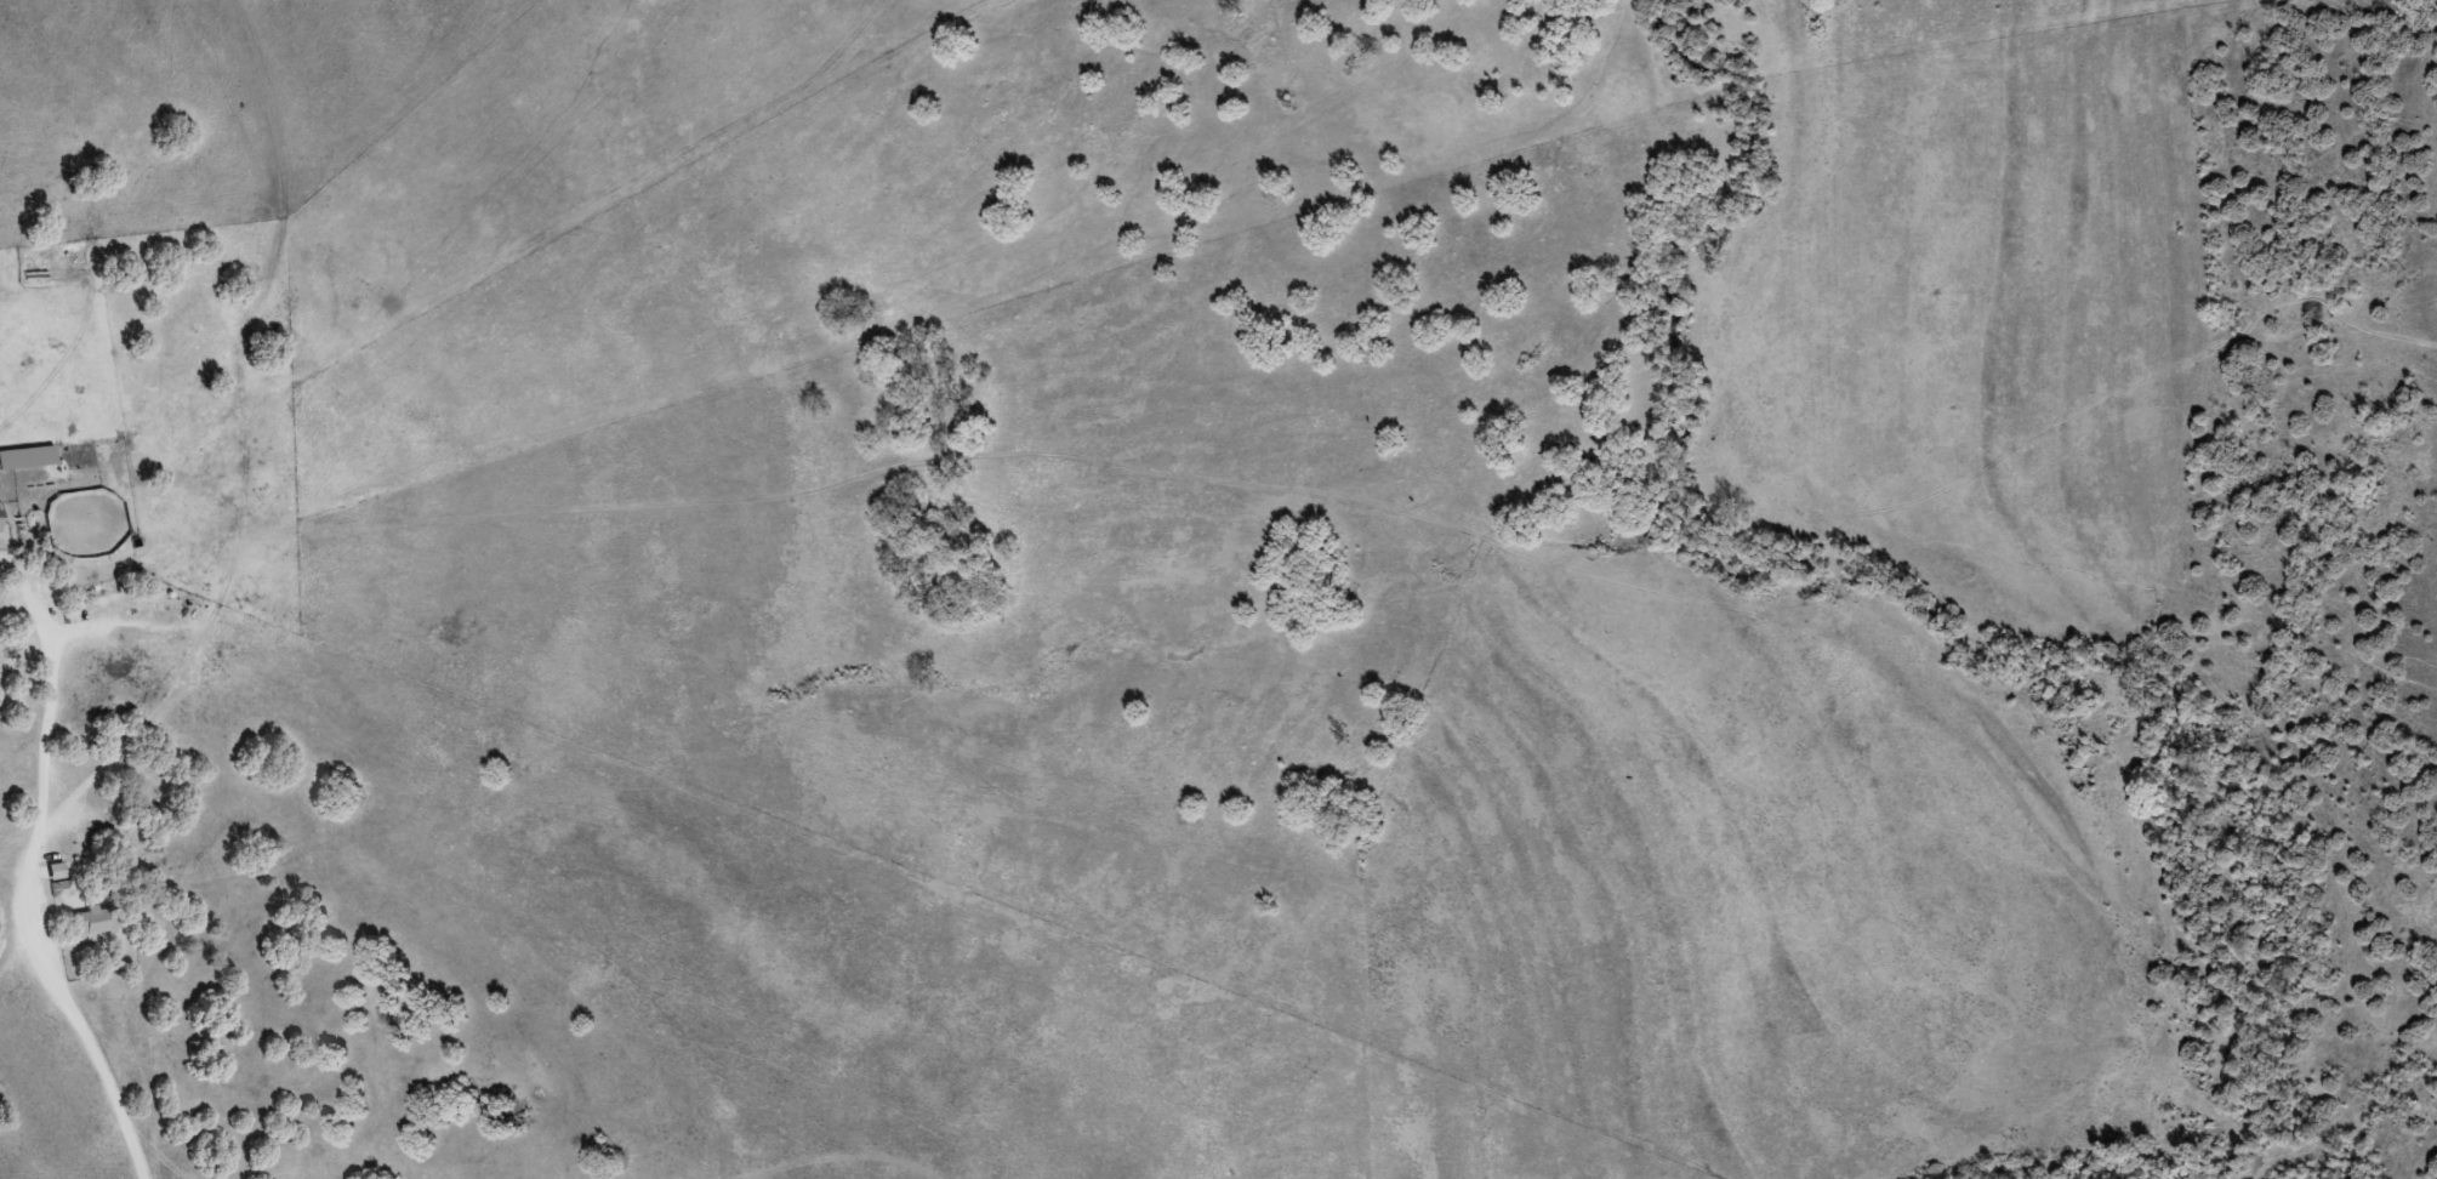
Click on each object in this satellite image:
building: (27, 456)
building: (0, 517)
building: (59, 879)
building: (96, 918)
road: (74, 1092)

